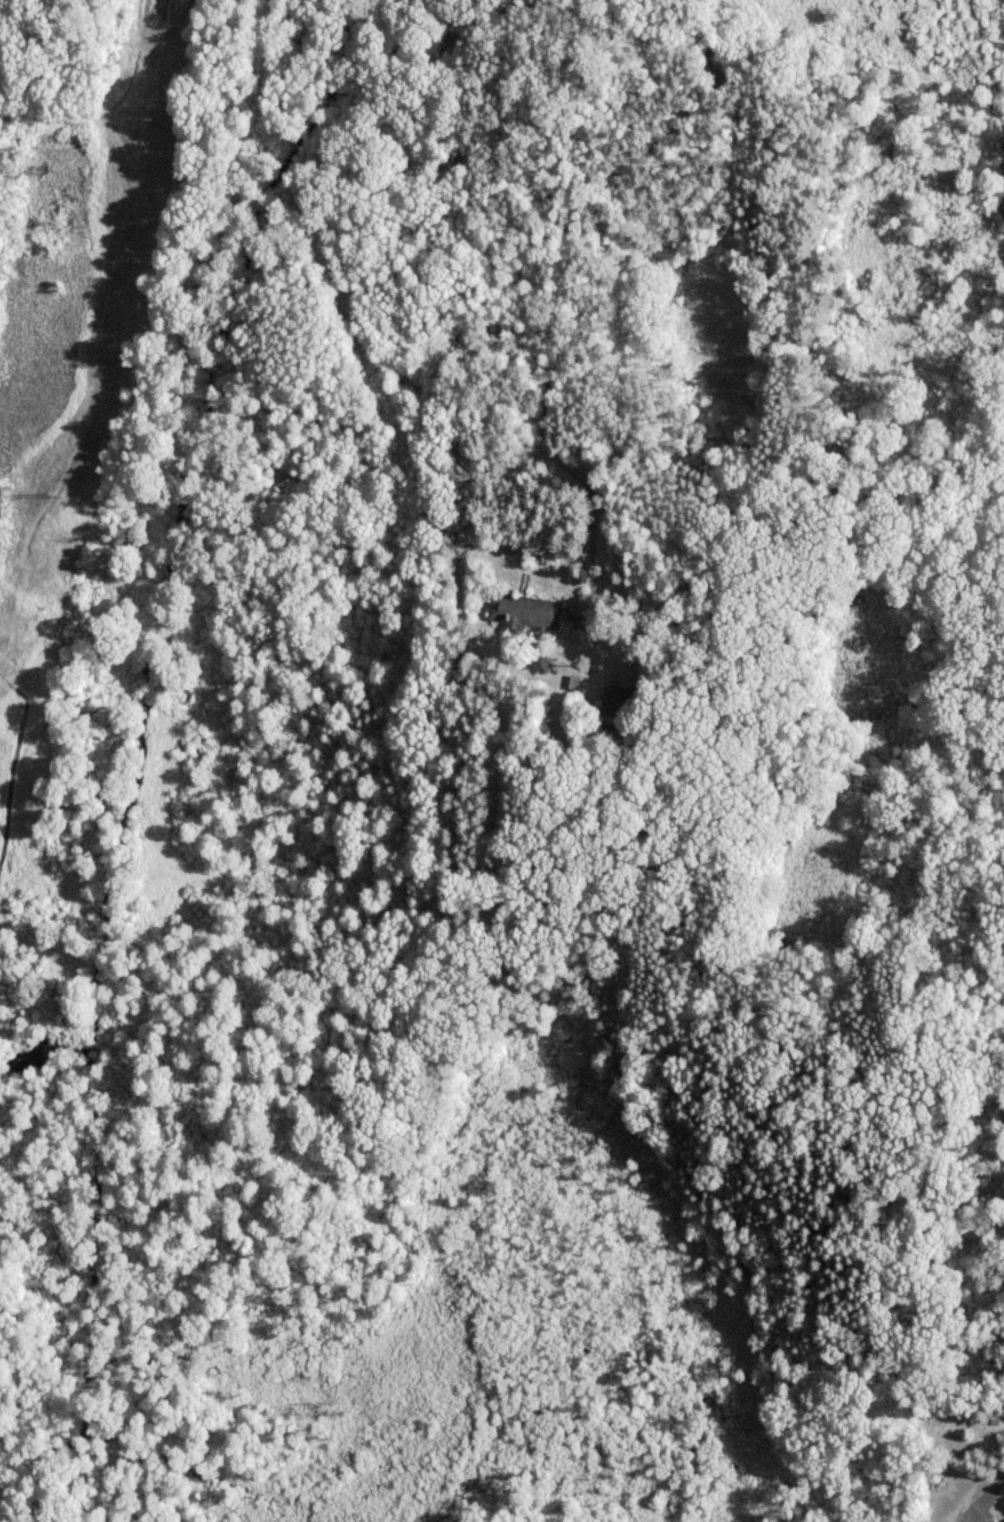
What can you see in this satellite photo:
power tower: (58, 489)
building: (528, 612)
building: (624, 704)

